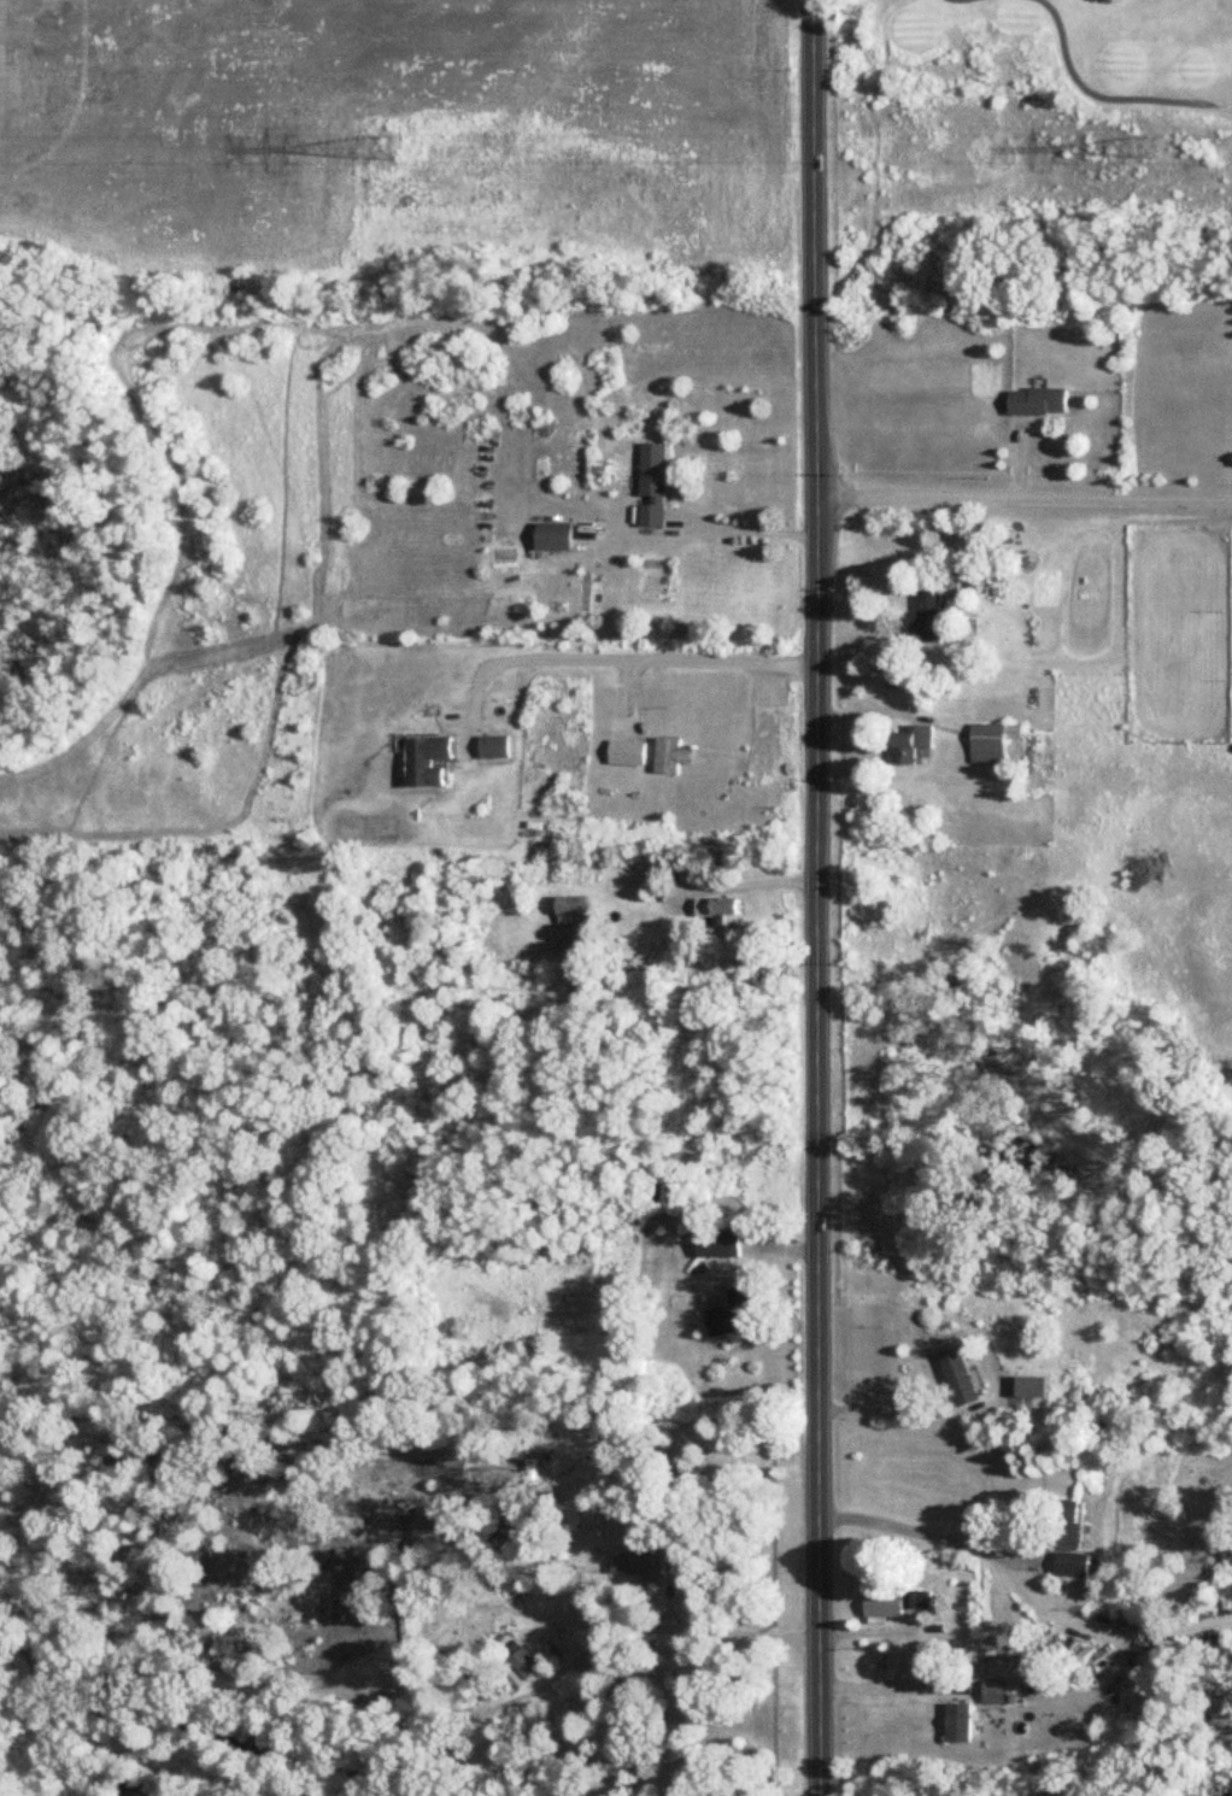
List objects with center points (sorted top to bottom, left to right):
park: (1029, 75)
power tower: (380, 153)
power tower: (1155, 157)
building: (1037, 404)
building: (651, 486)
road: (1023, 499)
road: (744, 529)
building: (551, 539)
building: (927, 618)
road: (617, 658)
building: (992, 743)
building: (911, 746)
building: (493, 749)
building: (627, 753)
building: (670, 756)
building: (426, 762)
road: (751, 885)
road: (816, 898)
building: (571, 911)
building: (722, 916)
building: (664, 1195)
building: (718, 1245)
building: (727, 1314)
building: (960, 1379)
building: (1028, 1387)
building: (1061, 1526)
building: (1073, 1566)
road: (1023, 1587)
building: (896, 1604)
road: (723, 1636)
building: (524, 1665)
road: (893, 1691)
building: (995, 1692)
building: (960, 1722)

